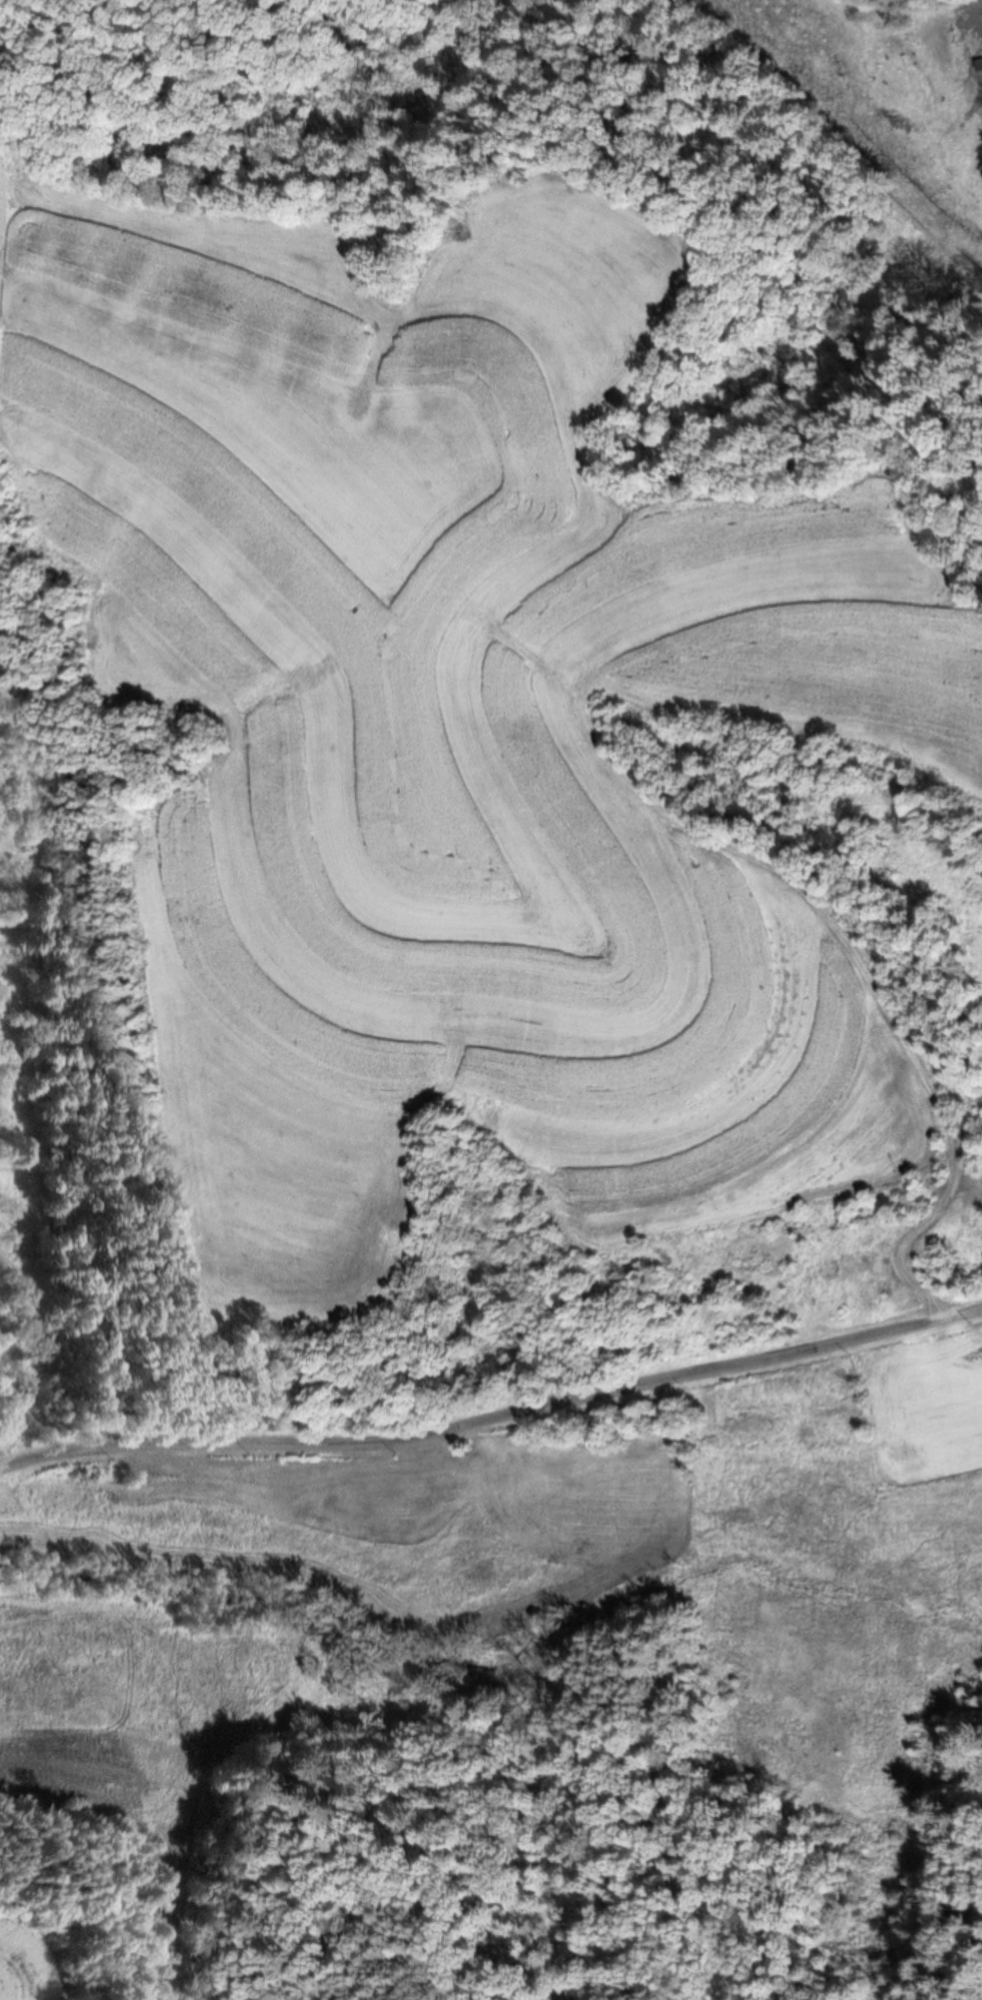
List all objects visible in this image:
road: (494, 1417)

